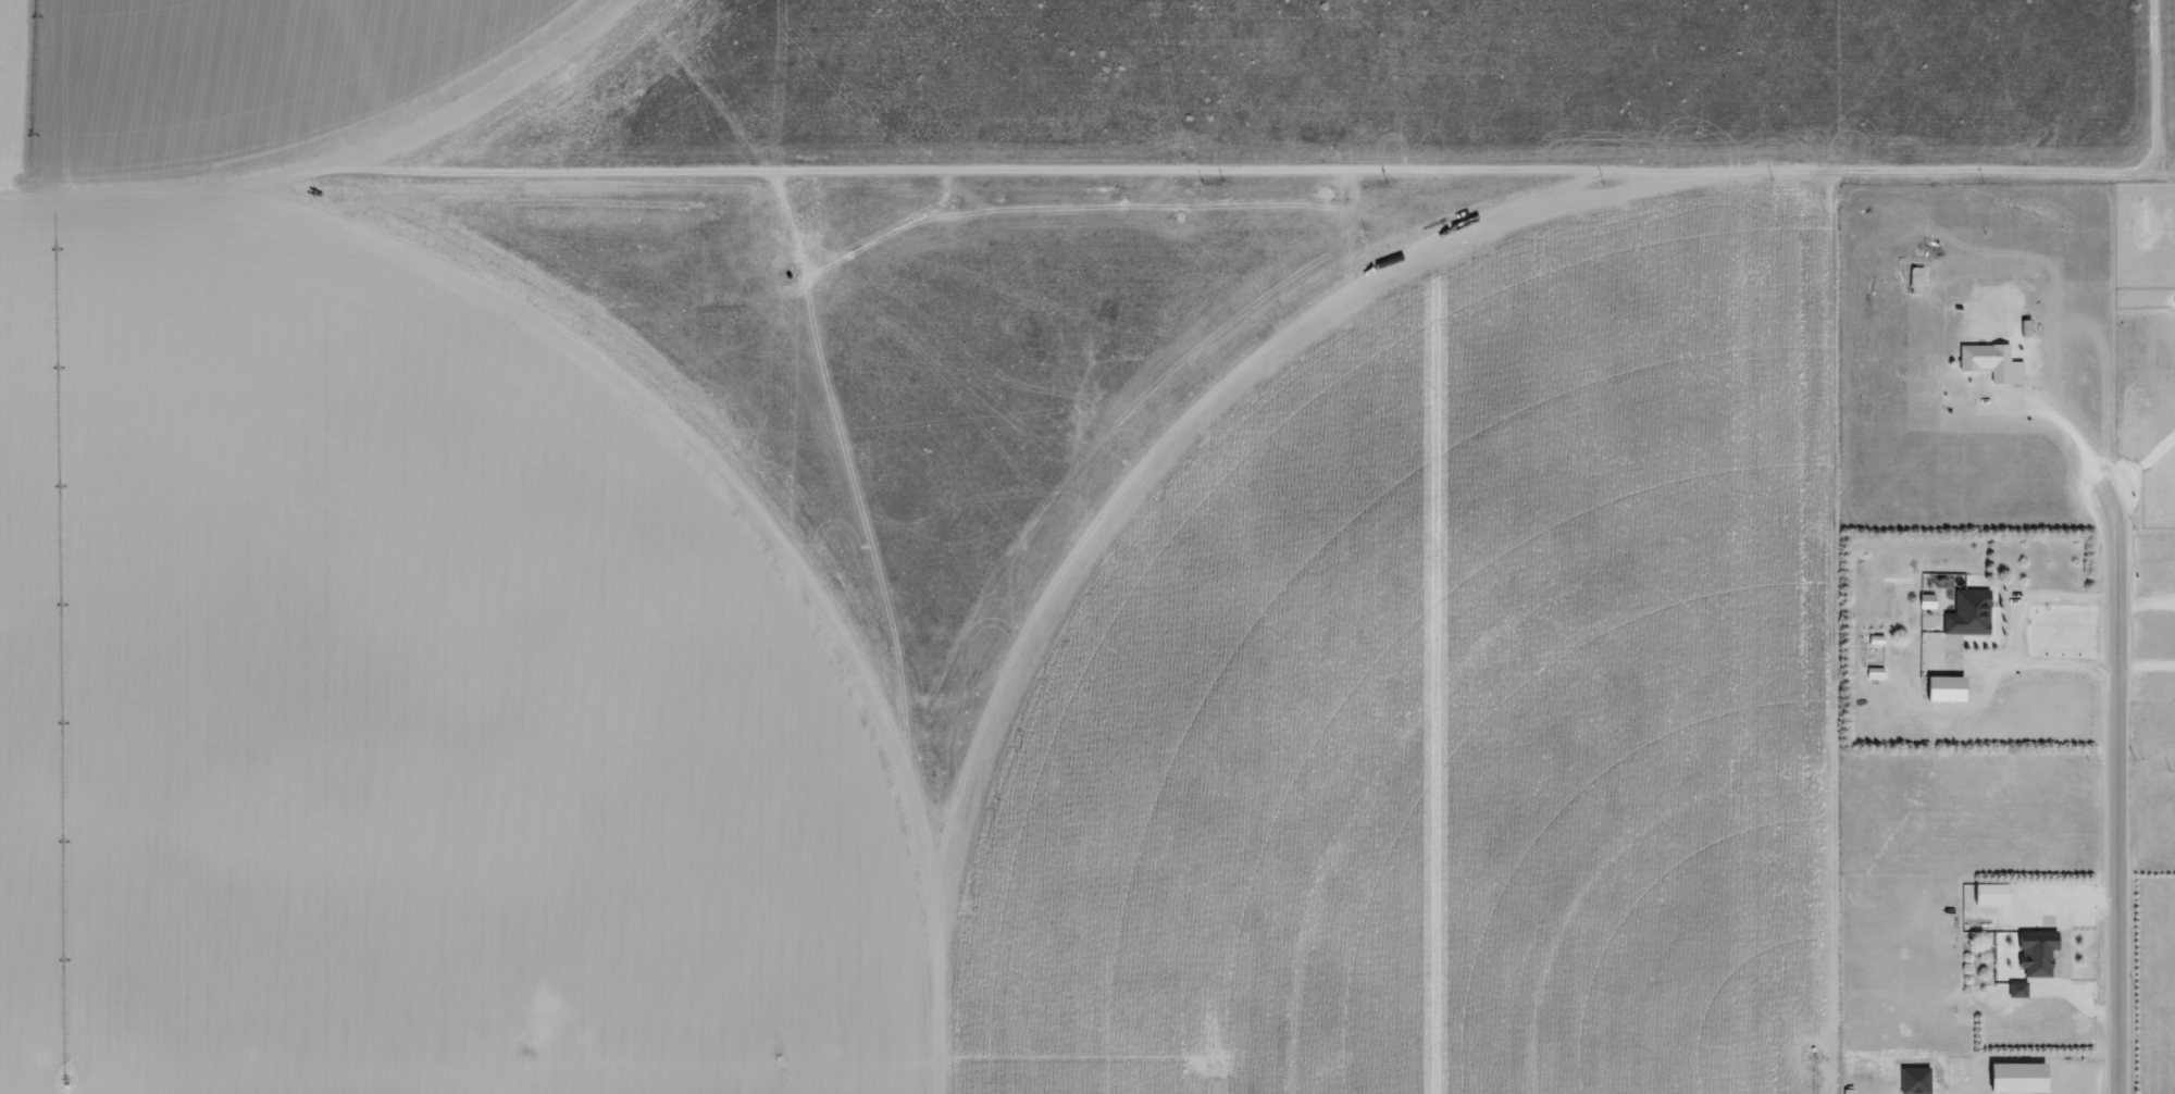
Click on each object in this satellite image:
building: (1914, 281)
building: (1989, 362)
building: (1924, 601)
building: (1968, 613)
building: (1942, 688)
road: (2111, 797)
building: (1988, 894)
building: (2035, 952)
building: (2014, 990)
building: (1913, 1080)

